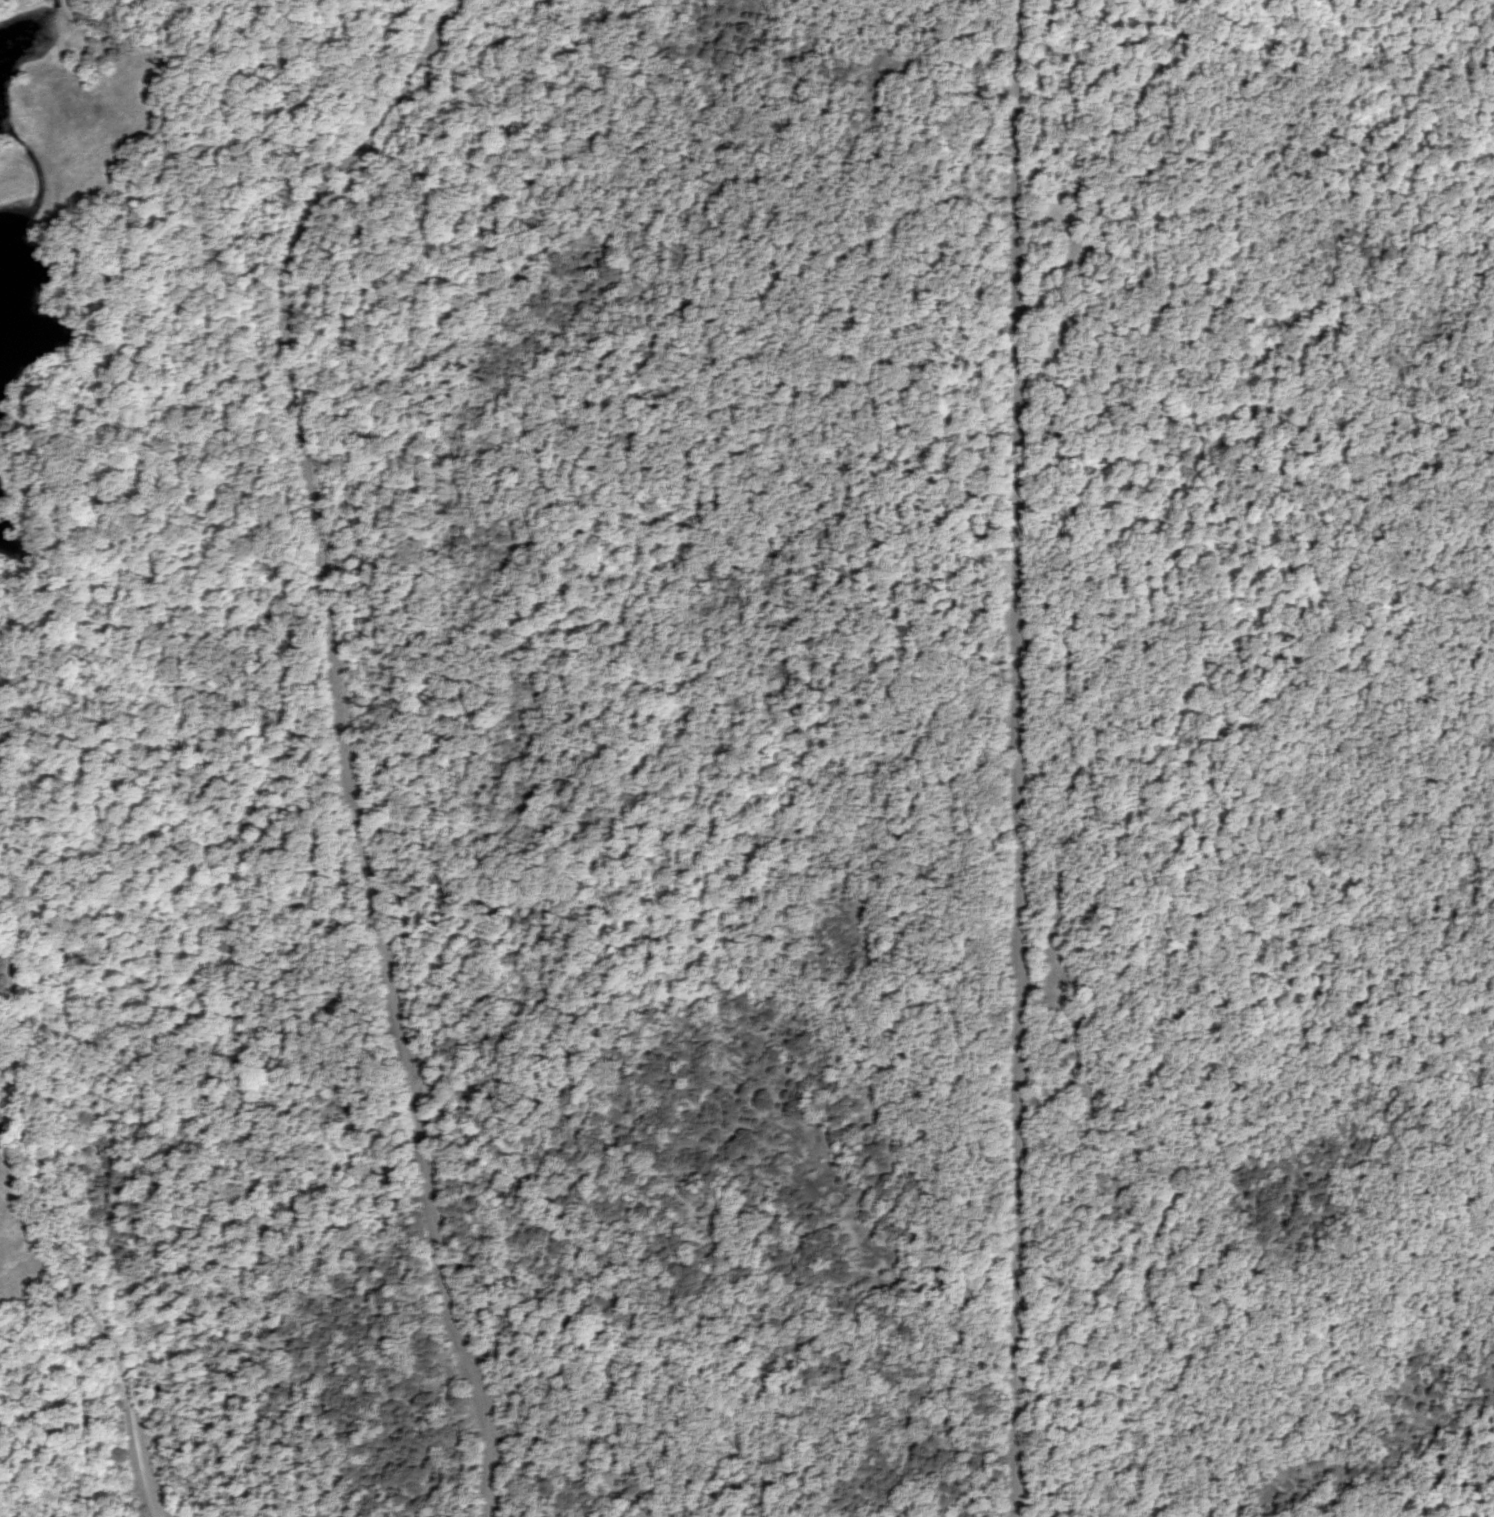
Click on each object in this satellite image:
road: (362, 842)
road: (82, 1287)

